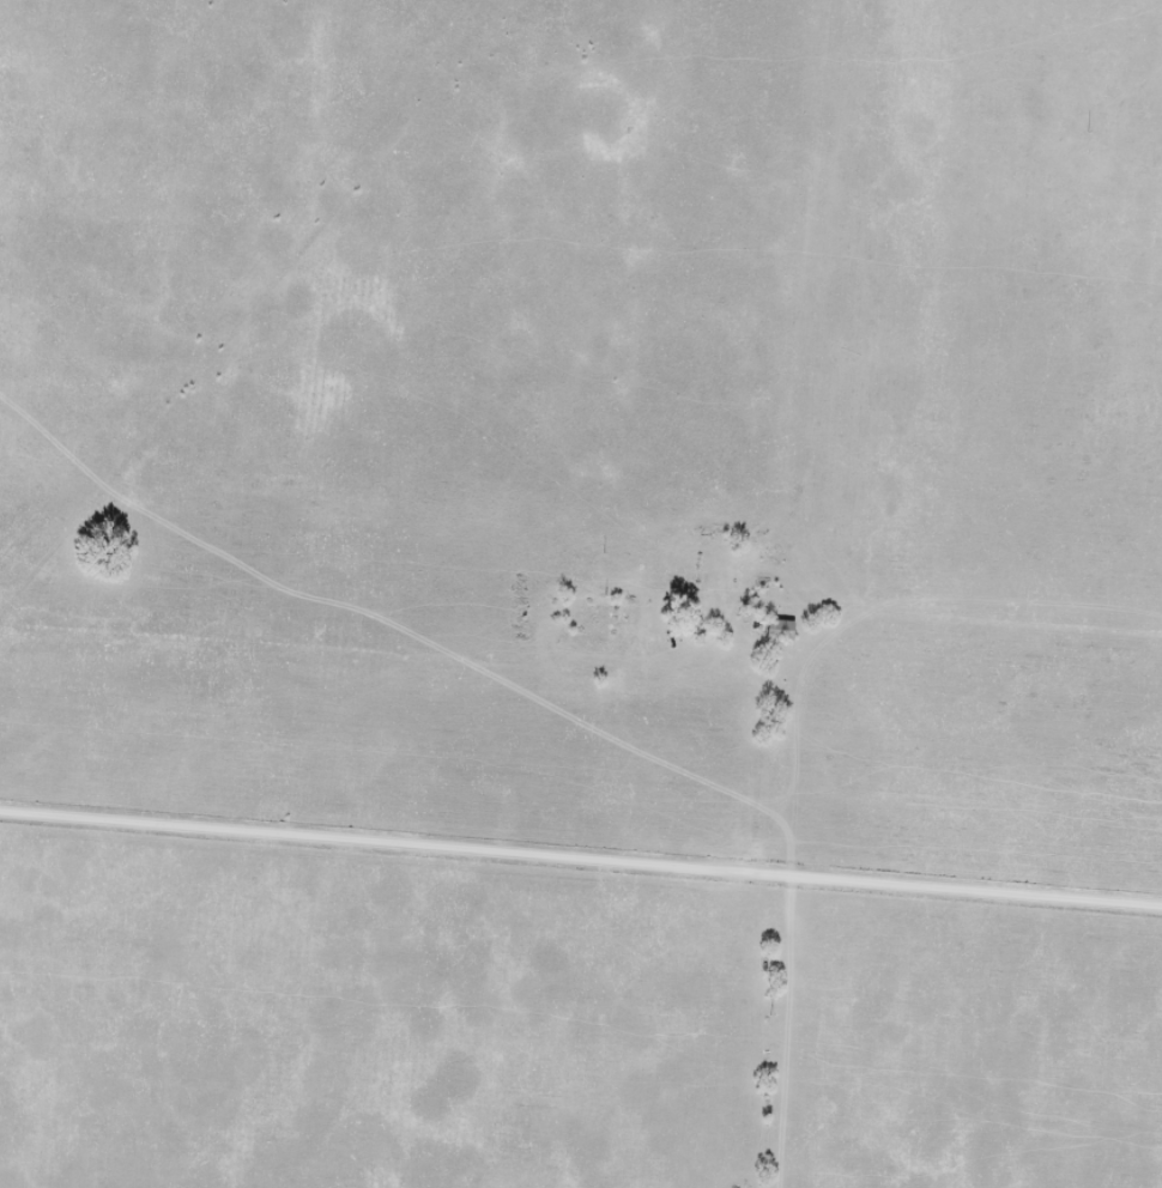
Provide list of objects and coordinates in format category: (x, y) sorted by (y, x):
building: (780, 629)
road: (580, 860)

